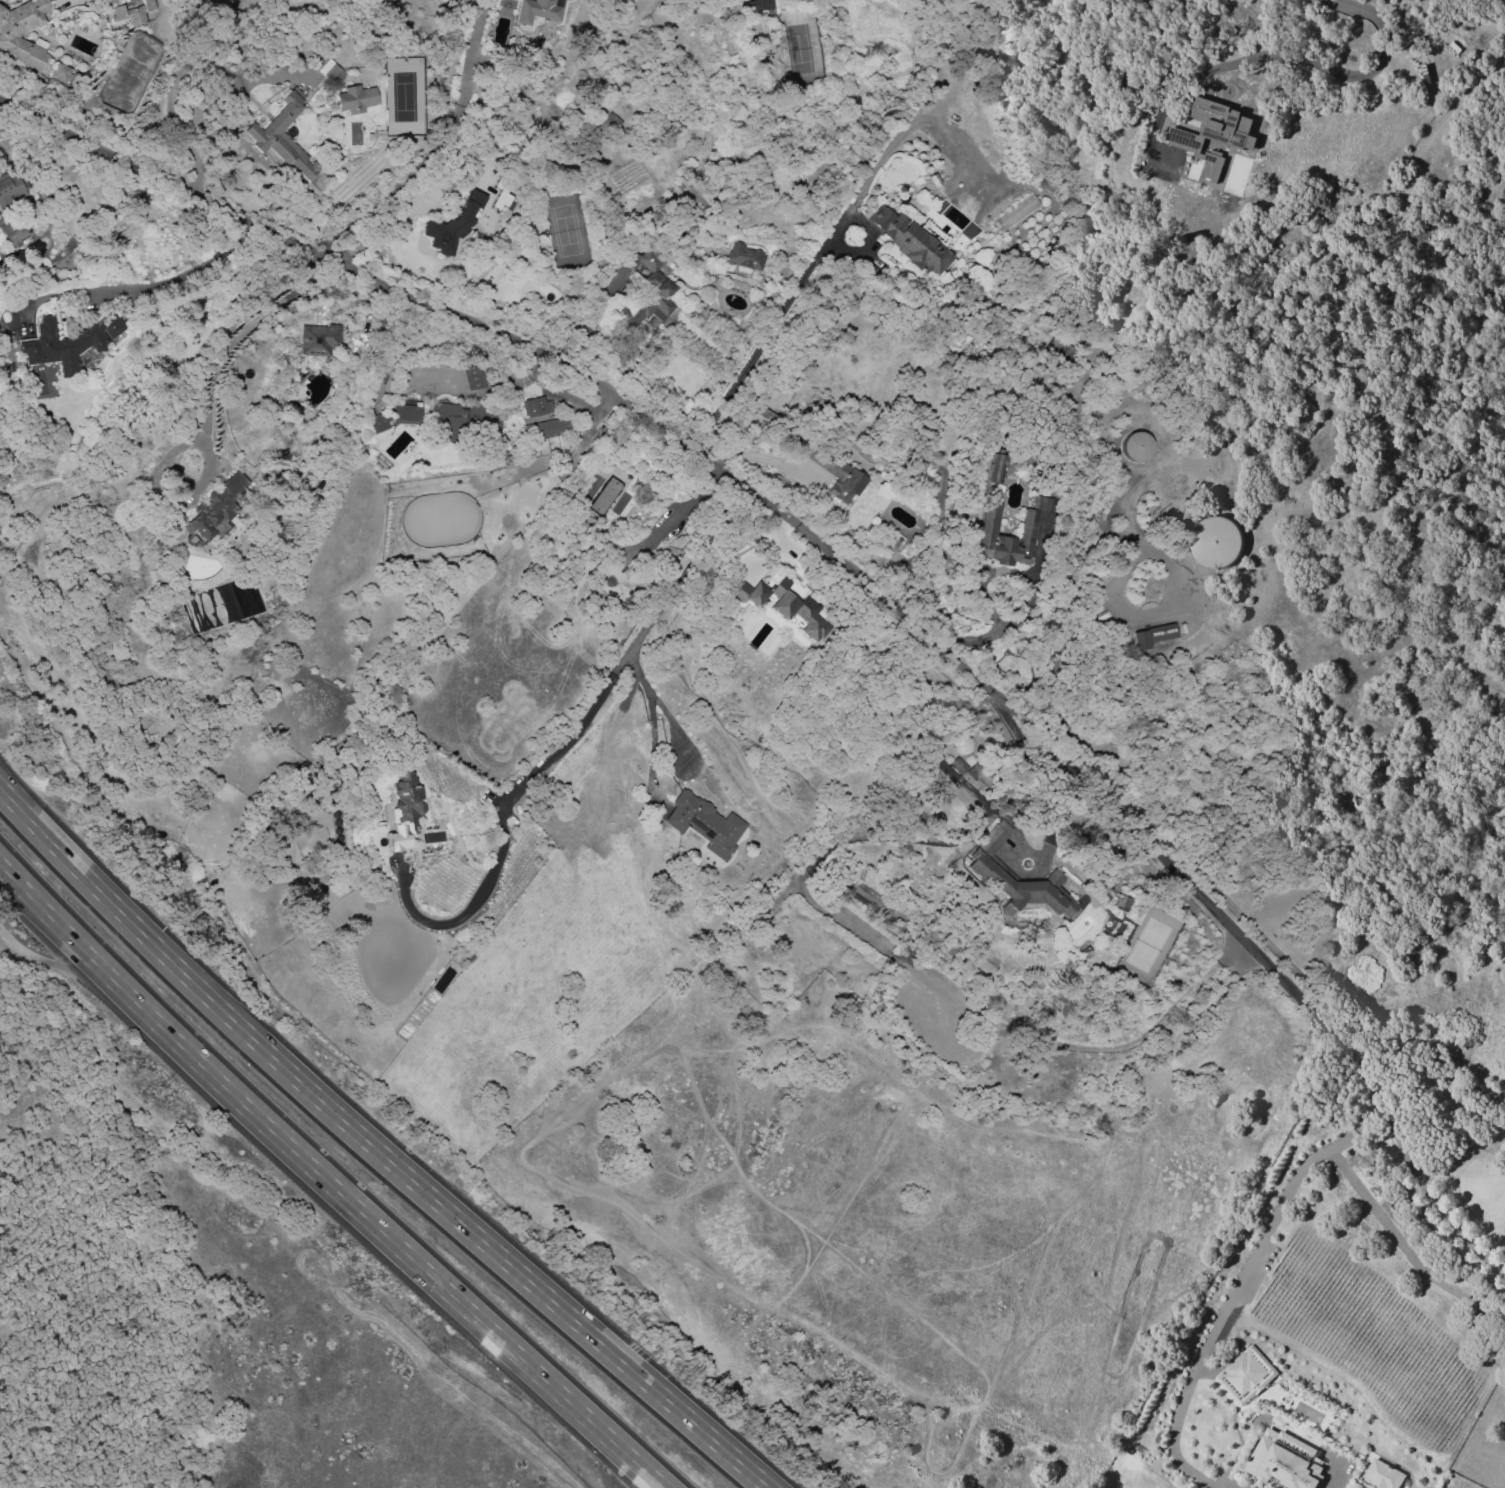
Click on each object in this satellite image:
building: (755, 5)
building: (538, 10)
building: (131, 13)
building: (16, 43)
road: (1312, 62)
road: (180, 71)
building: (61, 73)
building: (334, 73)
building: (355, 99)
building: (1212, 133)
building: (284, 135)
building: (11, 192)
building: (454, 224)
road: (382, 229)
building: (14, 232)
building: (913, 240)
road: (1344, 248)
building: (745, 256)
road: (168, 279)
building: (652, 287)
building: (675, 297)
road: (240, 331)
road: (768, 331)
building: (320, 339)
building: (69, 342)
building: (1057, 350)
building: (476, 377)
building: (537, 406)
building: (406, 413)
building: (446, 419)
building: (377, 424)
building: (497, 424)
building: (547, 427)
building: (1134, 446)
storage tank: (1134, 446)
building: (996, 468)
road: (721, 472)
building: (836, 474)
building: (1178, 486)
storage tank: (1178, 486)
building: (604, 496)
building: (314, 505)
road: (683, 506)
building: (214, 511)
building: (1030, 523)
building: (1214, 541)
storage tank: (1214, 541)
building: (898, 542)
road: (987, 574)
road: (1113, 575)
road: (1176, 599)
building: (783, 604)
building: (1153, 635)
road: (657, 702)
road: (564, 743)
building: (957, 765)
building: (979, 772)
road: (5, 784)
road: (5, 786)
building: (409, 801)
building: (705, 824)
building: (992, 874)
building: (1121, 901)
road: (1406, 1151)
road: (379, 1152)
road: (327, 1181)
road: (1203, 1347)
building: (1243, 1373)
building: (1282, 1466)
building: (1383, 1475)
road: (1335, 1476)

